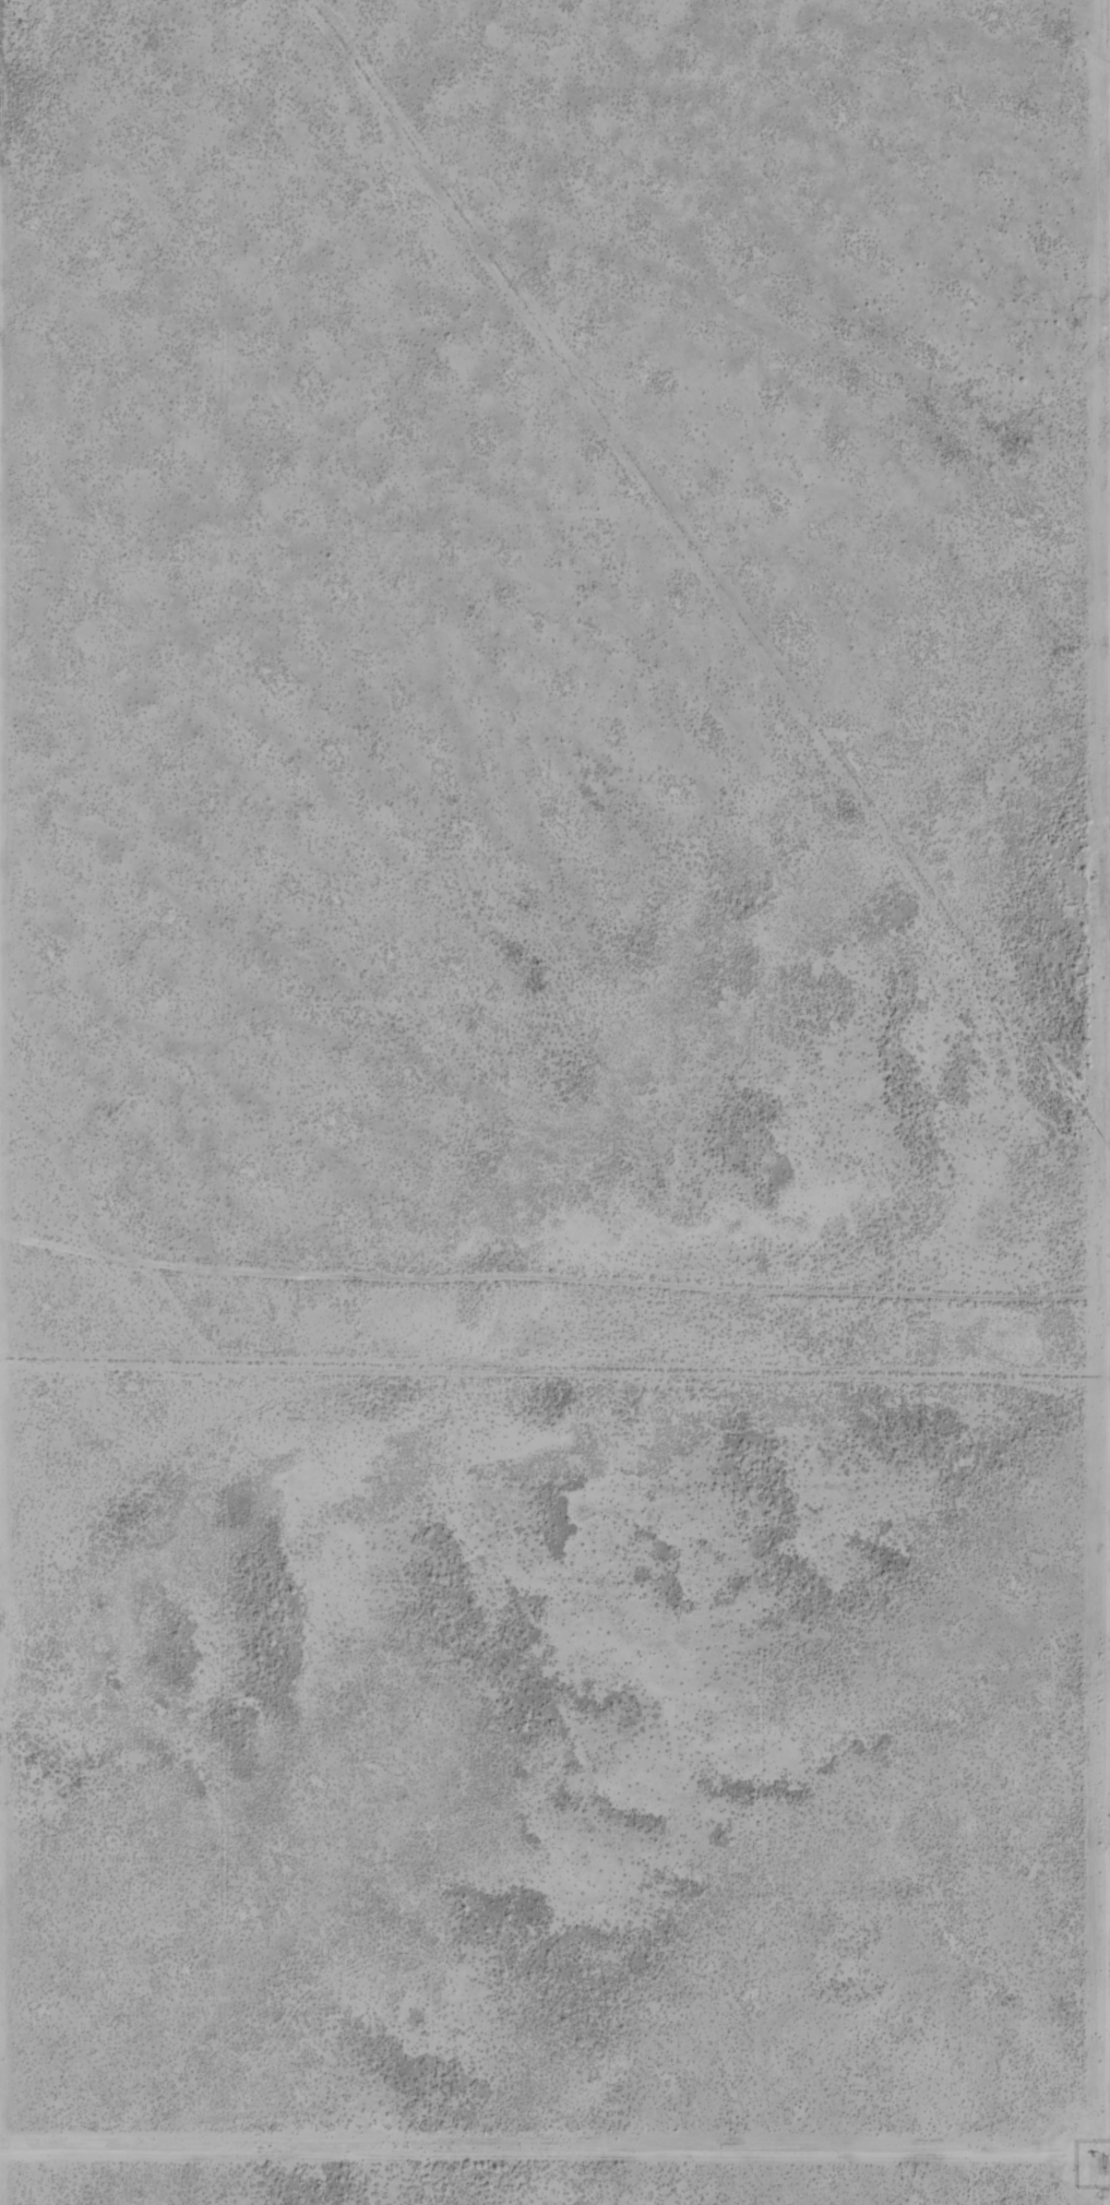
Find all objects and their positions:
road: (554, 1241)

